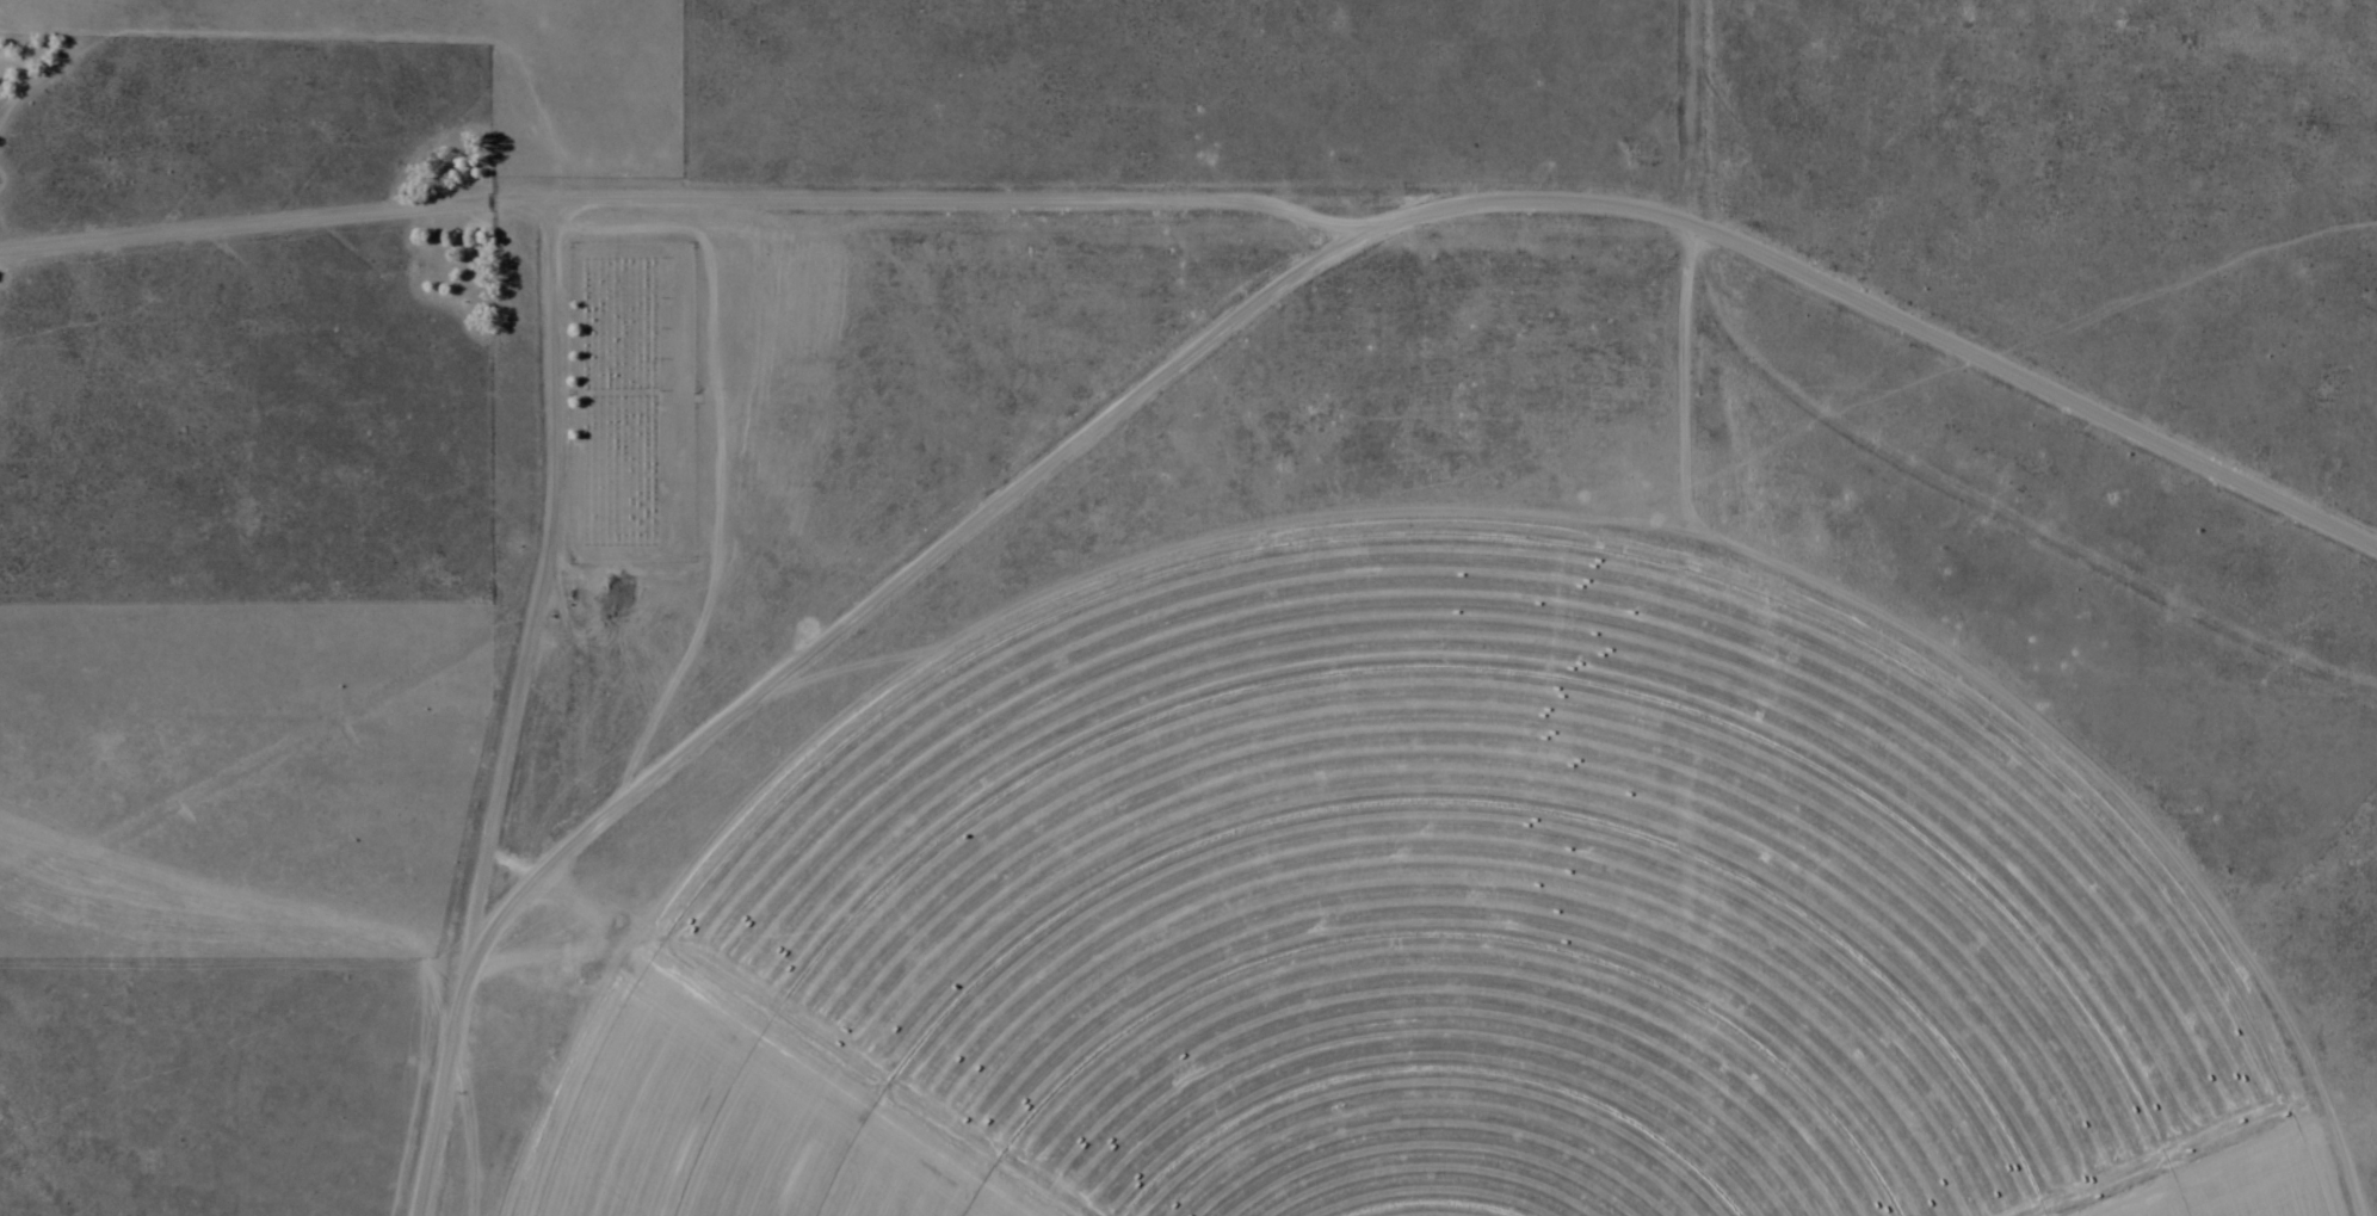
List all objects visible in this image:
road: (513, 226)

